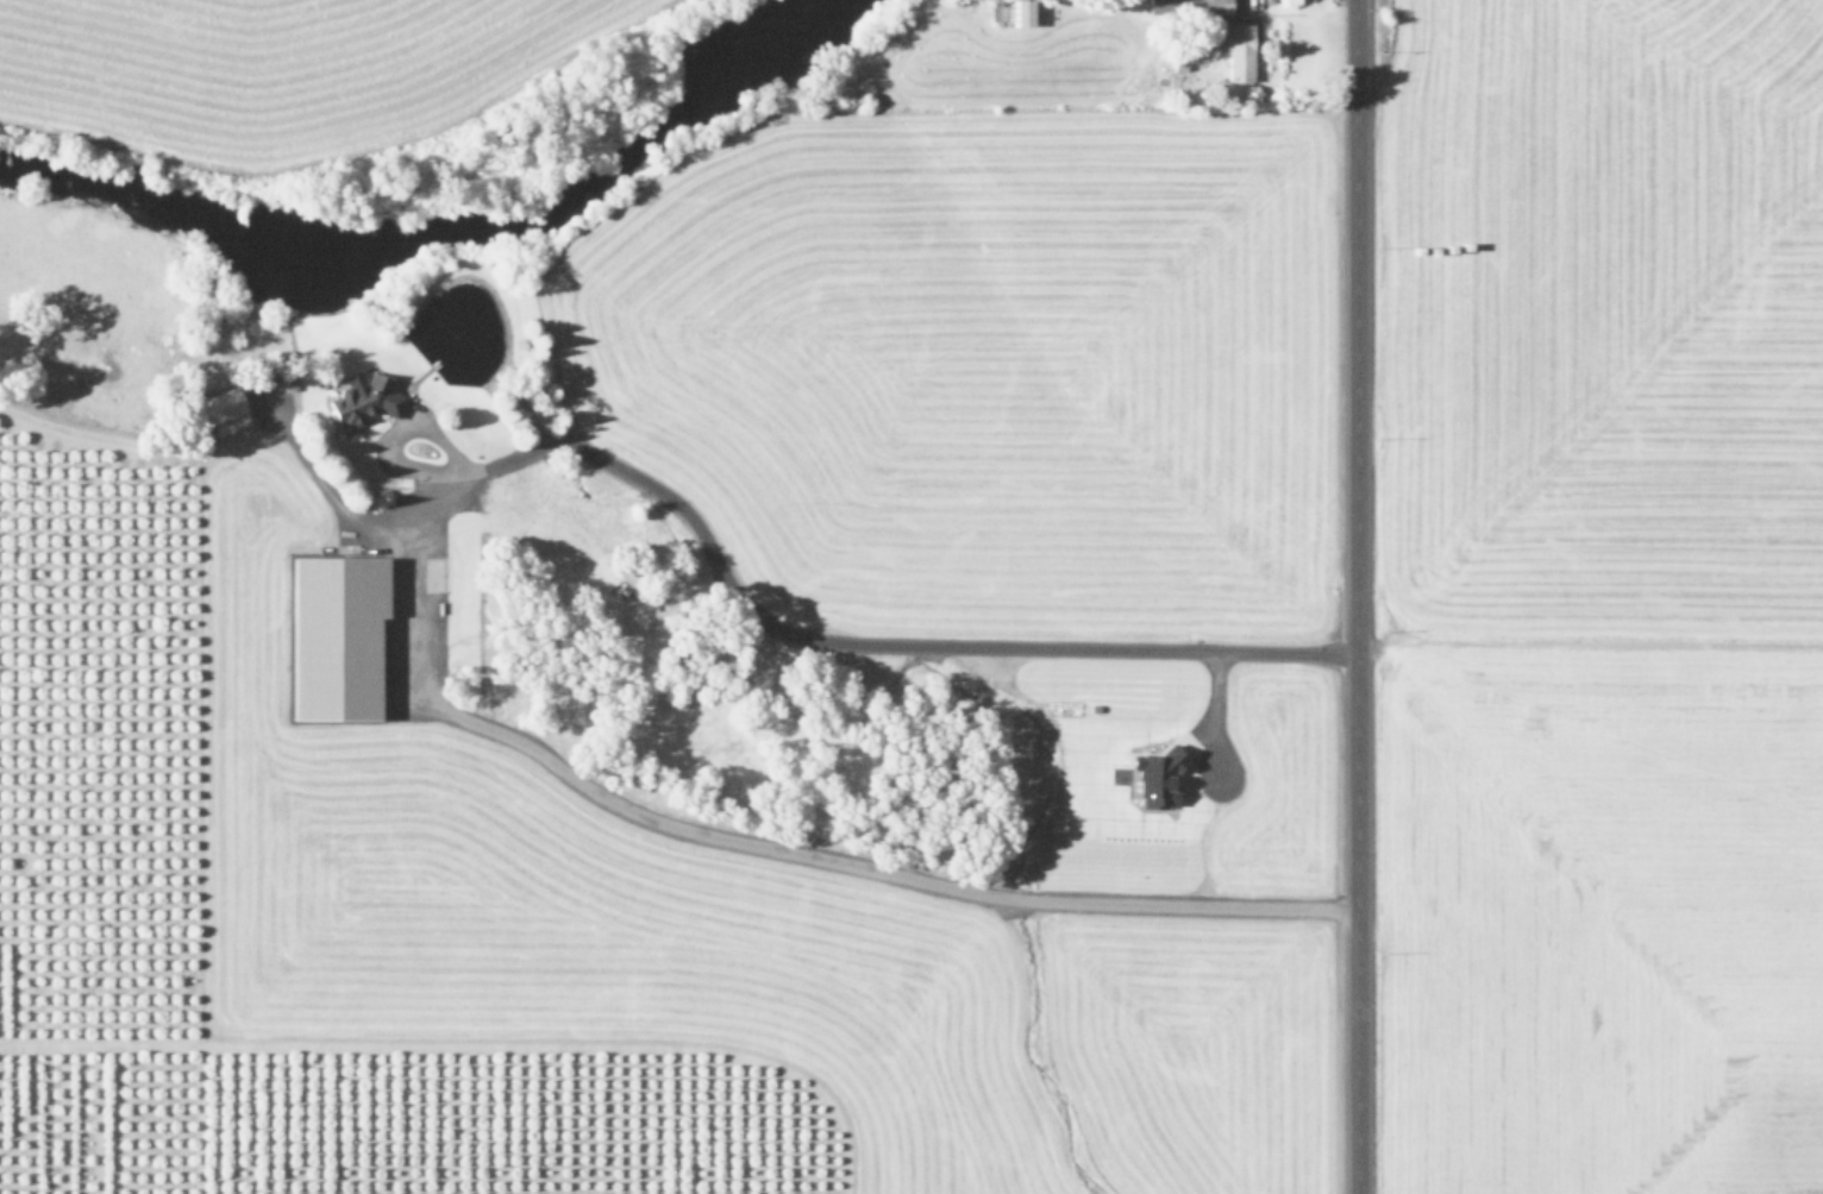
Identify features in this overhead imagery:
building: (1186, 7)
building: (1009, 12)
building: (1234, 50)
crop: (258, 67)
building: (361, 401)
building: (215, 406)
road: (1354, 596)
road: (777, 628)
building: (332, 636)
building: (1154, 778)

